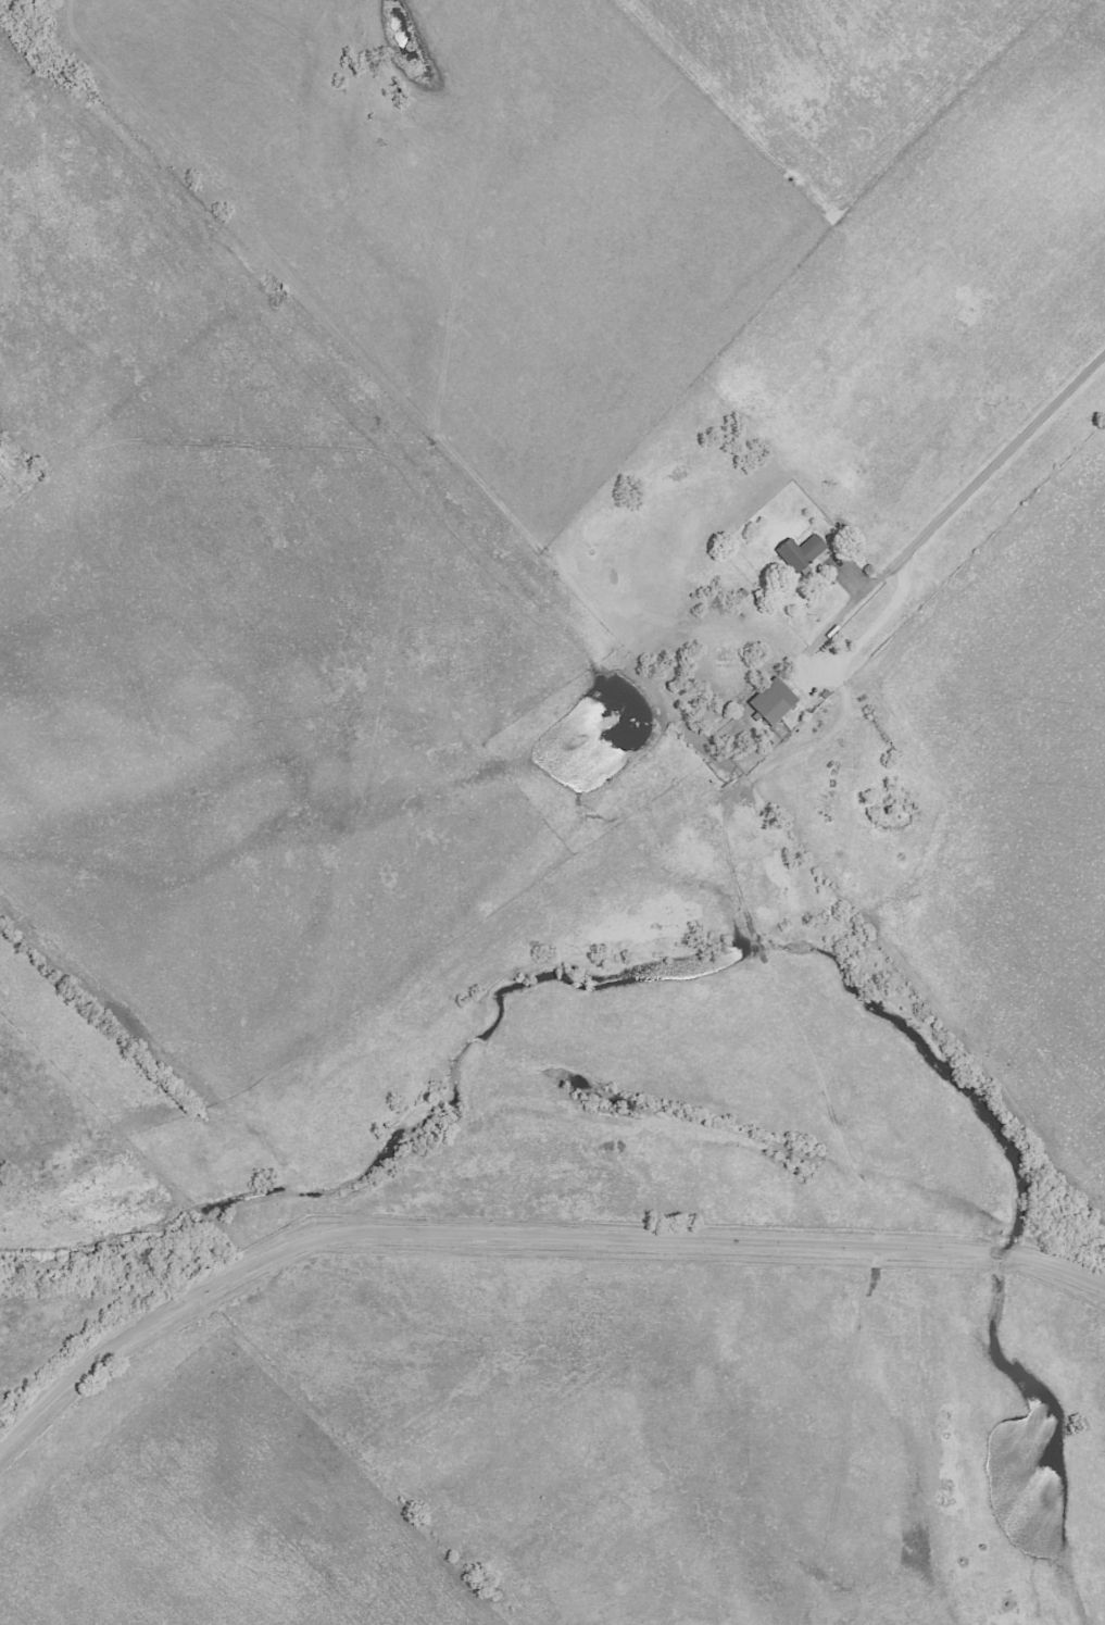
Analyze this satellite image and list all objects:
road: (1000, 461)
building: (800, 552)
road: (816, 672)
building: (771, 701)
road: (520, 1237)

